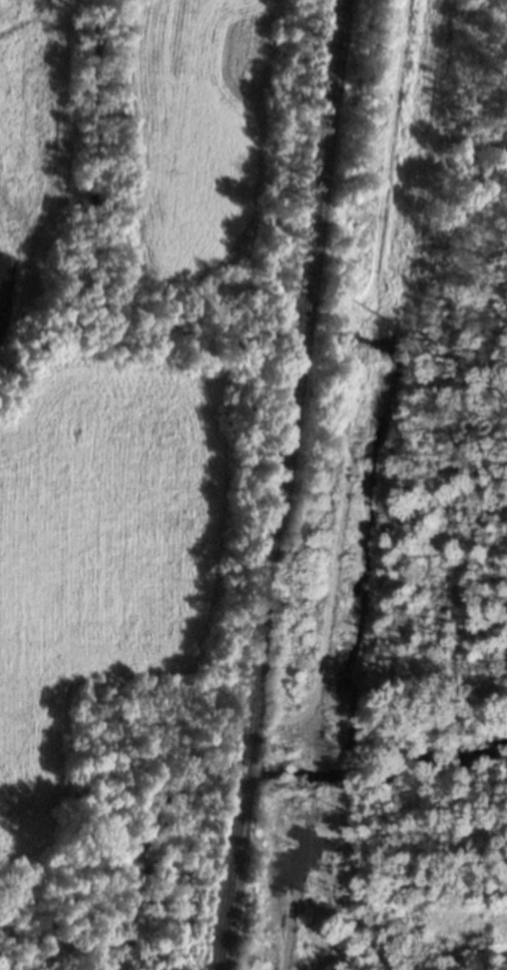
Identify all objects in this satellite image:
crop: (128, 349)
railway: (300, 376)
park: (444, 570)
river: (244, 770)
railway: (247, 773)
park: (124, 829)
railway: (233, 882)

